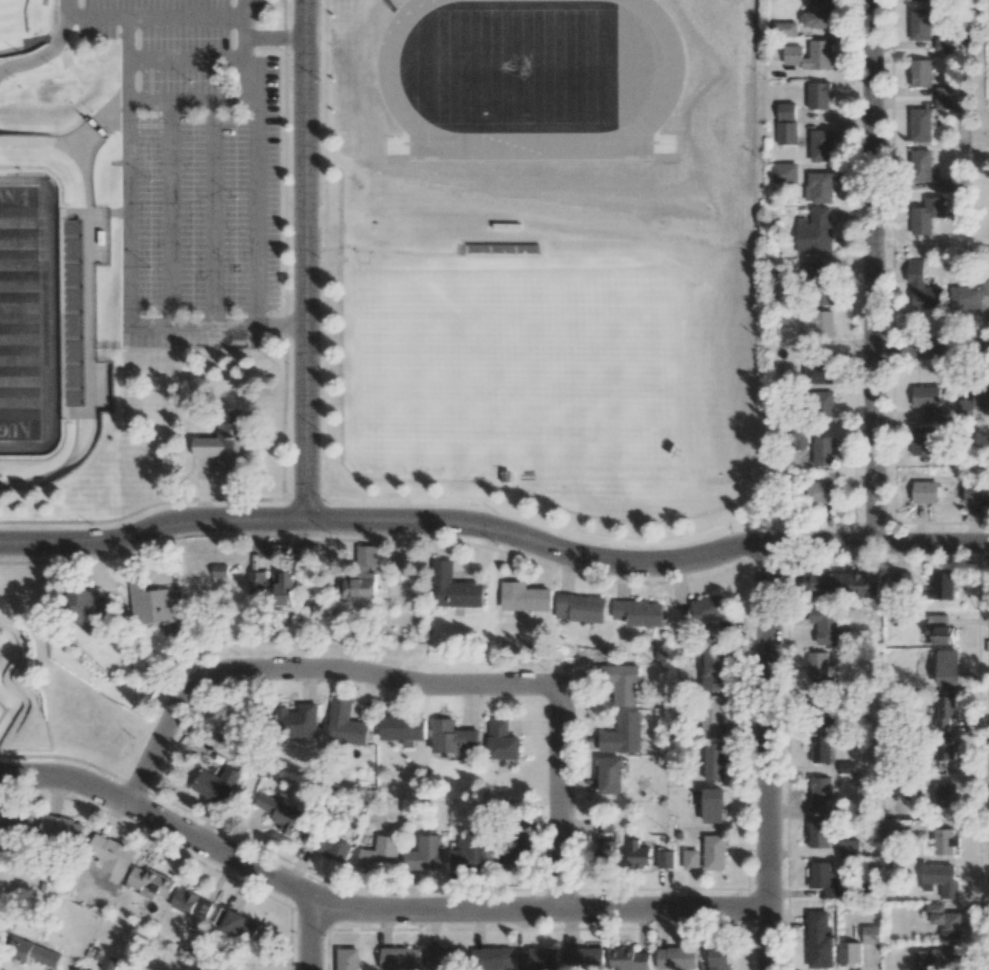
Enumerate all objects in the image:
building: (920, 0)
building: (818, 14)
road: (152, 19)
road: (247, 19)
park: (24, 25)
building: (920, 25)
park: (22, 29)
building: (782, 29)
parking lot: (988, 35)
road: (275, 39)
park: (704, 42)
building: (943, 44)
building: (810, 55)
road: (188, 62)
road: (247, 70)
building: (920, 73)
building: (819, 95)
building: (943, 97)
road: (187, 102)
building: (786, 111)
building: (920, 125)
building: (787, 133)
building: (821, 146)
building: (920, 165)
road: (128, 172)
parking lot: (194, 173)
building: (785, 173)
building: (945, 184)
building: (819, 187)
road: (259, 207)
road: (171, 214)
road: (213, 214)
building: (926, 215)
building: (815, 231)
road: (304, 260)
road: (874, 270)
building: (817, 287)
building: (921, 287)
building: (968, 294)
stadium: (49, 304)
park: (18, 312)
building: (72, 312)
building: (819, 322)
road: (216, 326)
building: (786, 336)
road: (932, 353)
building: (818, 373)
park: (519, 375)
building: (926, 396)
building: (975, 402)
building: (821, 406)
building: (936, 414)
building: (921, 441)
building: (228, 446)
building: (823, 451)
building: (818, 492)
building: (976, 493)
road: (496, 529)
building: (220, 570)
building: (360, 576)
building: (902, 582)
building: (842, 584)
building: (943, 585)
building: (273, 586)
building: (456, 588)
building: (524, 597)
building: (151, 602)
building: (86, 606)
building: (580, 608)
building: (703, 611)
building: (639, 613)
building: (826, 626)
building: (941, 630)
road: (301, 666)
building: (714, 667)
building: (947, 668)
building: (820, 670)
building: (623, 685)
building: (818, 708)
building: (943, 712)
building: (299, 721)
building: (345, 723)
building: (403, 727)
building: (622, 734)
building: (453, 738)
building: (502, 740)
building: (820, 748)
building: (942, 750)
road: (765, 755)
building: (714, 761)
building: (610, 775)
building: (217, 784)
building: (821, 795)
building: (944, 795)
road: (559, 799)
building: (713, 805)
building: (278, 812)
building: (17, 824)
building: (604, 827)
building: (891, 827)
building: (61, 828)
building: (819, 834)
building: (944, 841)
building: (336, 849)
building: (848, 849)
building: (469, 852)
building: (515, 852)
building: (714, 852)
building: (604, 853)
building: (112, 854)
building: (380, 854)
building: (424, 854)
building: (637, 854)
building: (665, 859)
building: (691, 859)
building: (825, 879)
building: (939, 879)
building: (151, 882)
building: (191, 903)
road: (370, 908)
building: (944, 920)
building: (237, 924)
road: (309, 931)
building: (871, 934)
building: (819, 940)
building: (35, 954)
building: (850, 954)
building: (448, 956)
building: (400, 958)
building: (583, 958)
building: (676, 958)
building: (348, 959)
building: (492, 959)
building: (537, 959)
building: (629, 959)
building: (719, 959)
building: (945, 959)
building: (920, 960)
building: (109, 963)
building: (83, 969)

